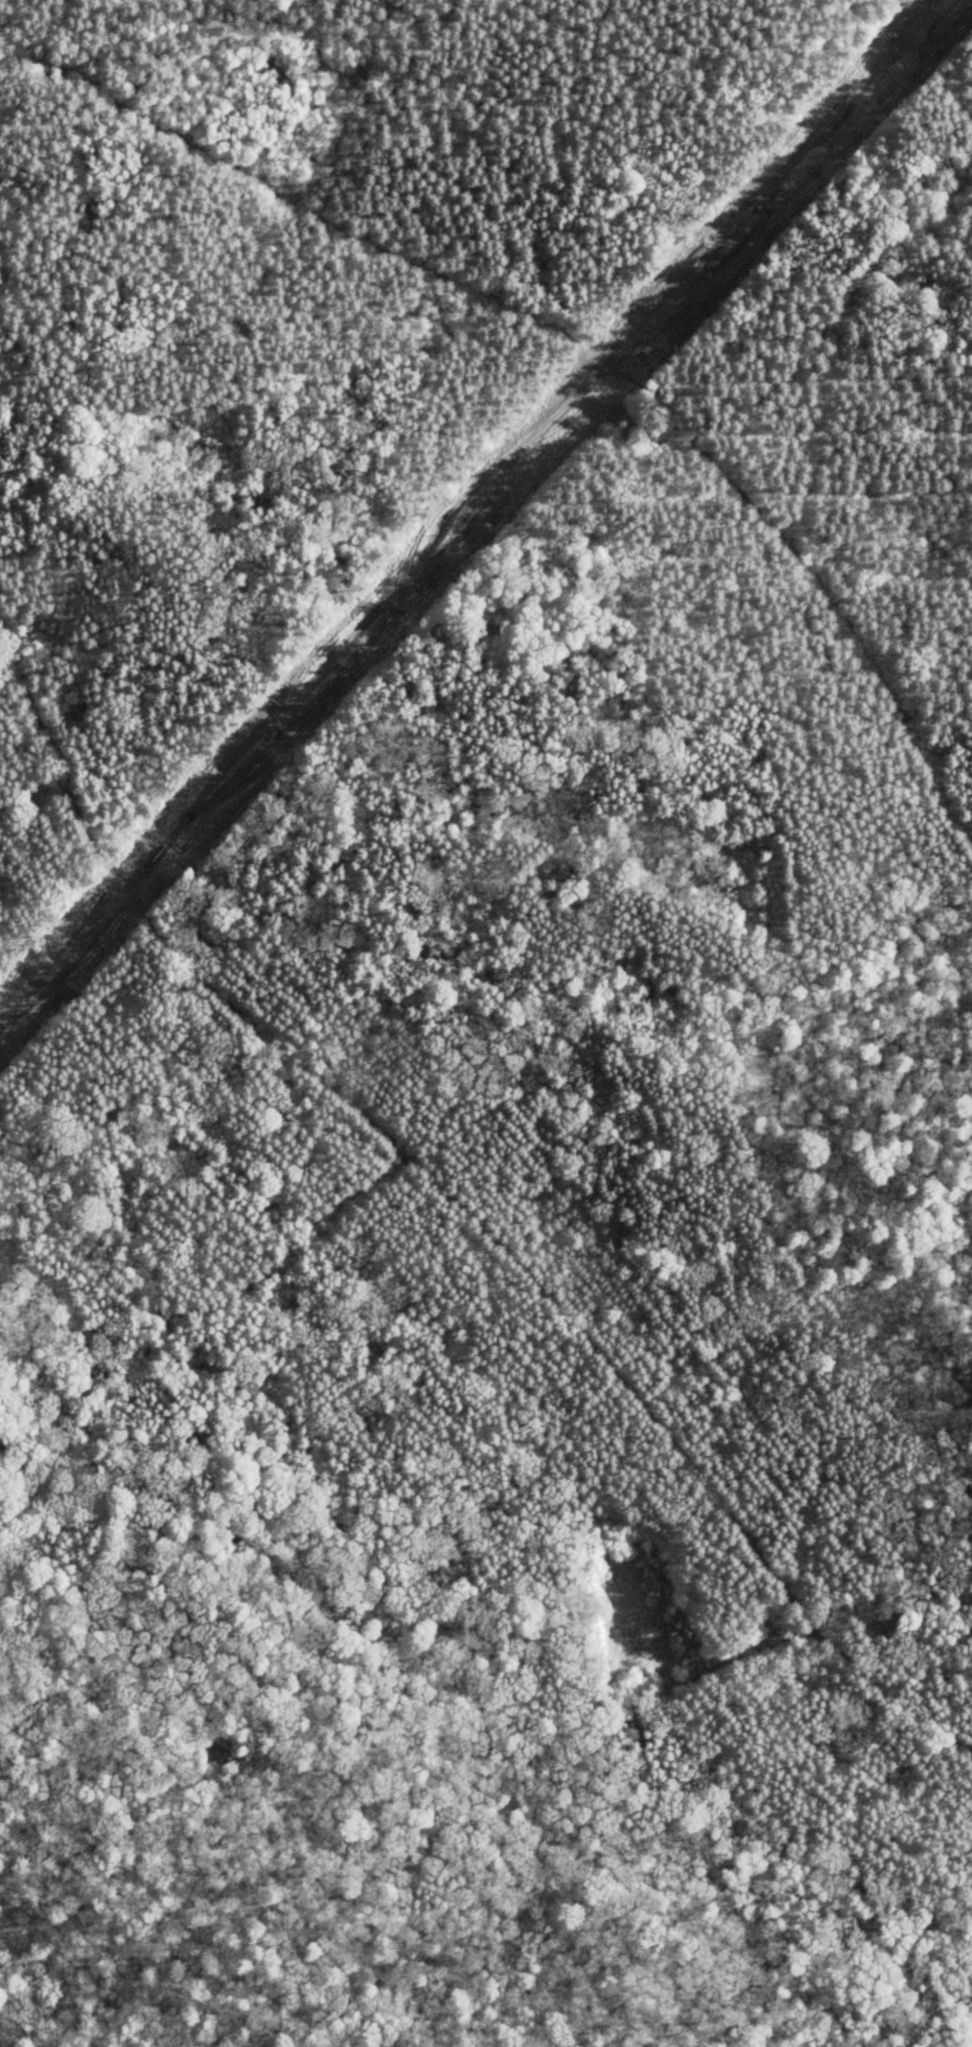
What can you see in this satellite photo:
road: (97, 13)
road: (221, 37)
road: (696, 56)
road: (714, 460)
road: (919, 644)
park: (486, 1023)
road: (472, 1195)

